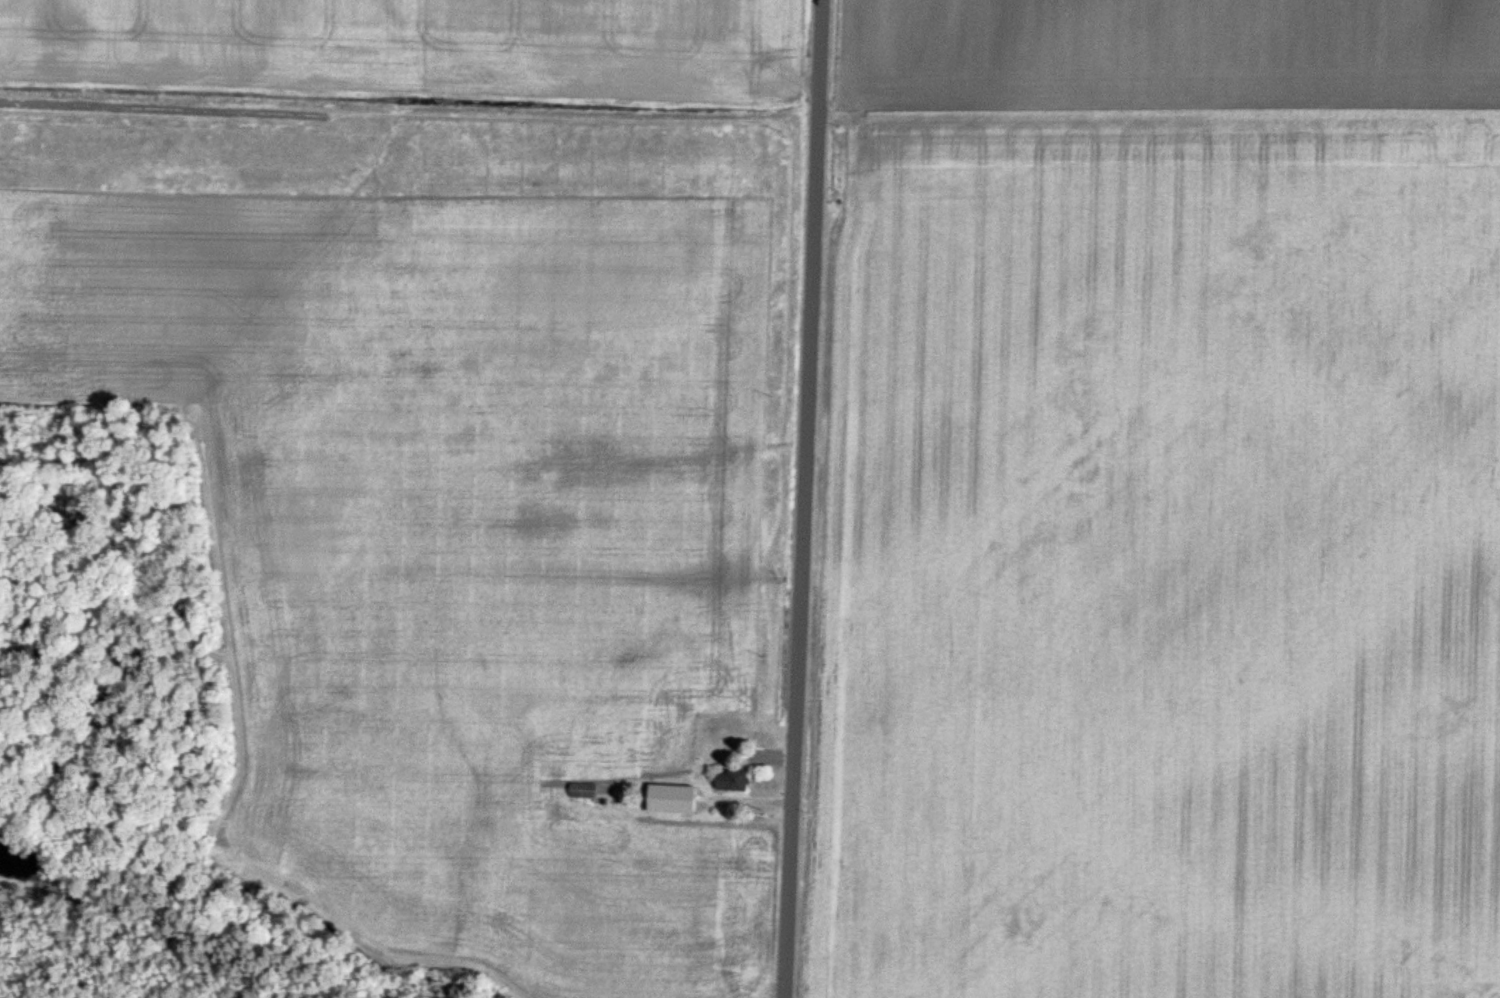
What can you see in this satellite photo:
road: (1158, 143)
road: (801, 499)
building: (732, 782)
building: (583, 791)

